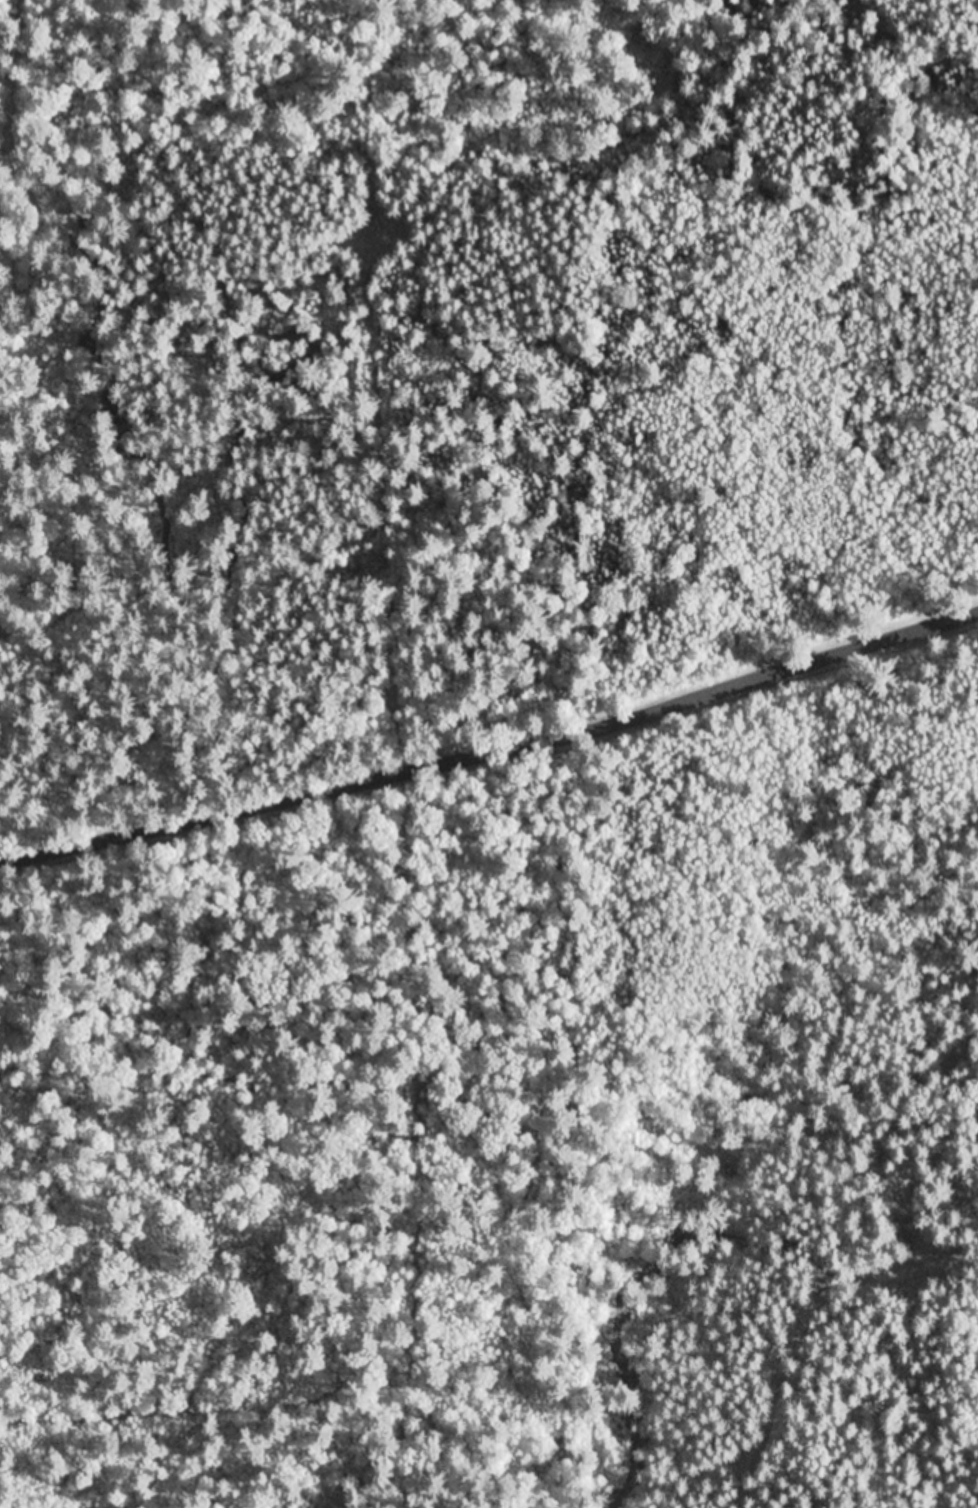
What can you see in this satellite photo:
road: (495, 757)

